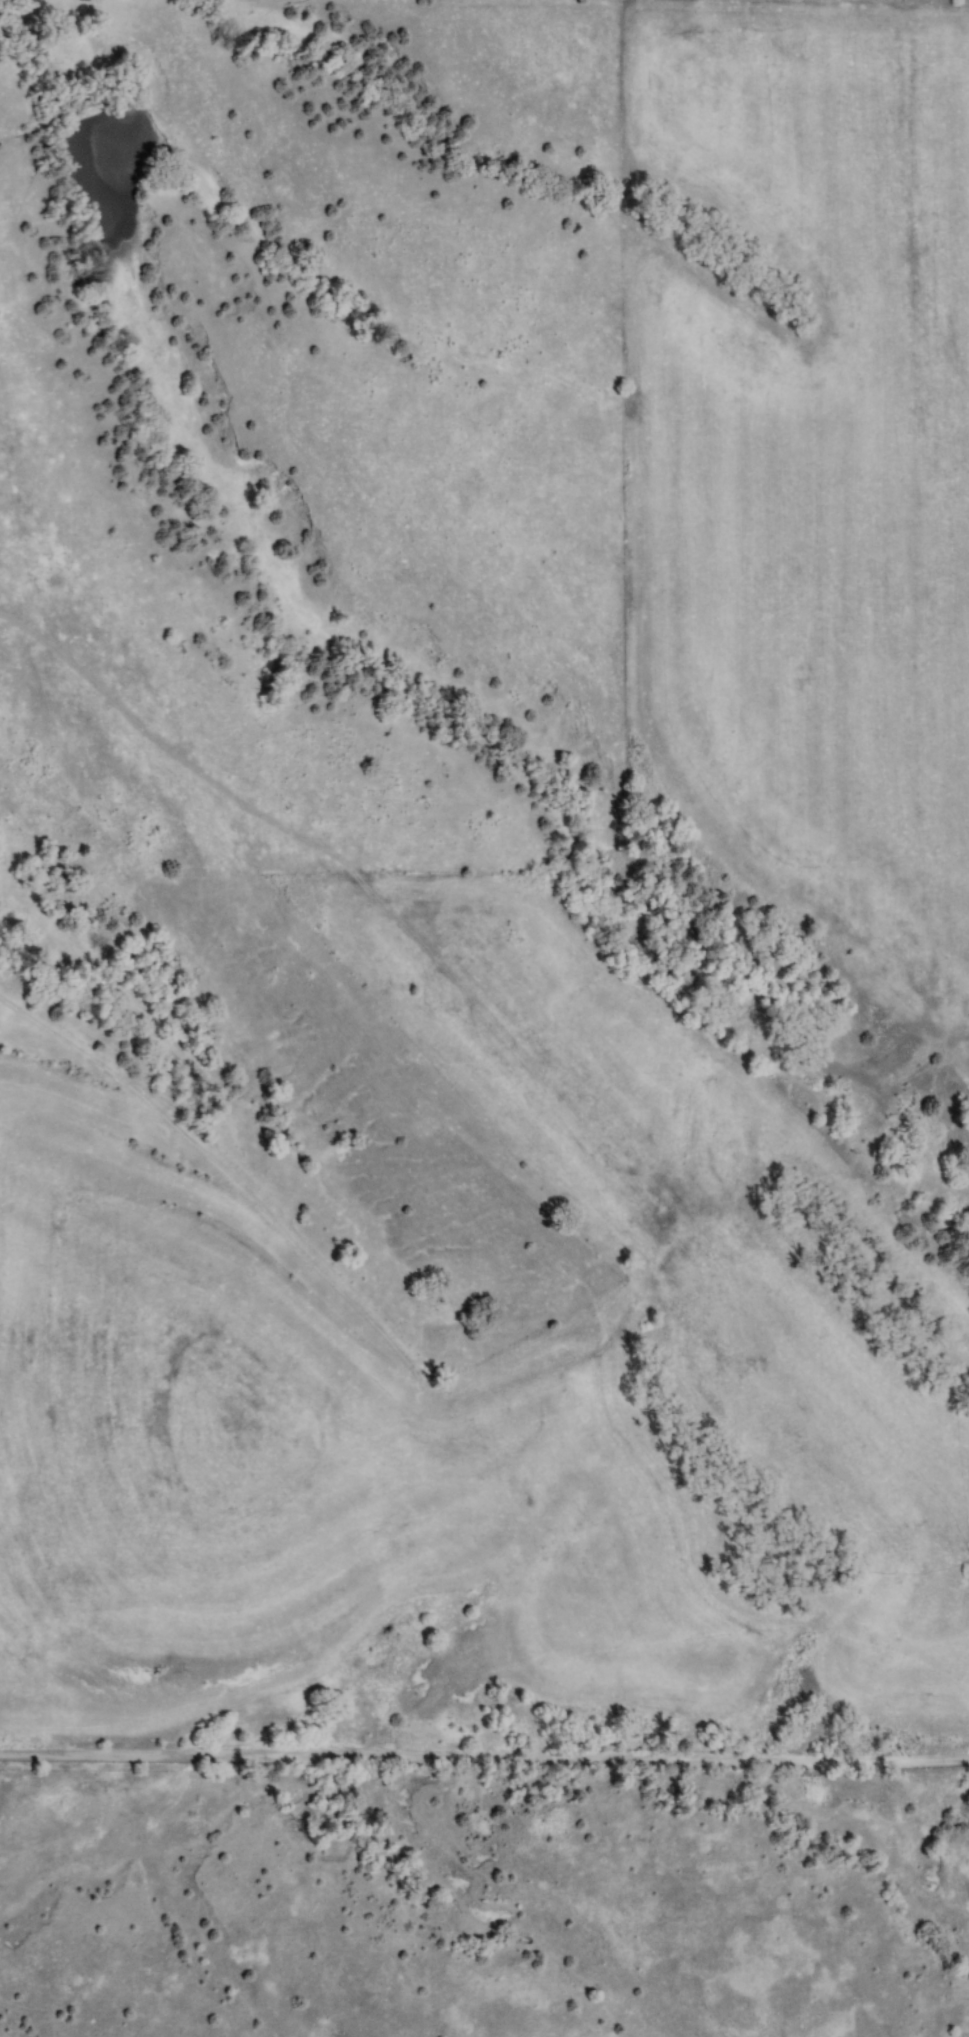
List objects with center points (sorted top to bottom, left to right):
road: (484, 1759)

